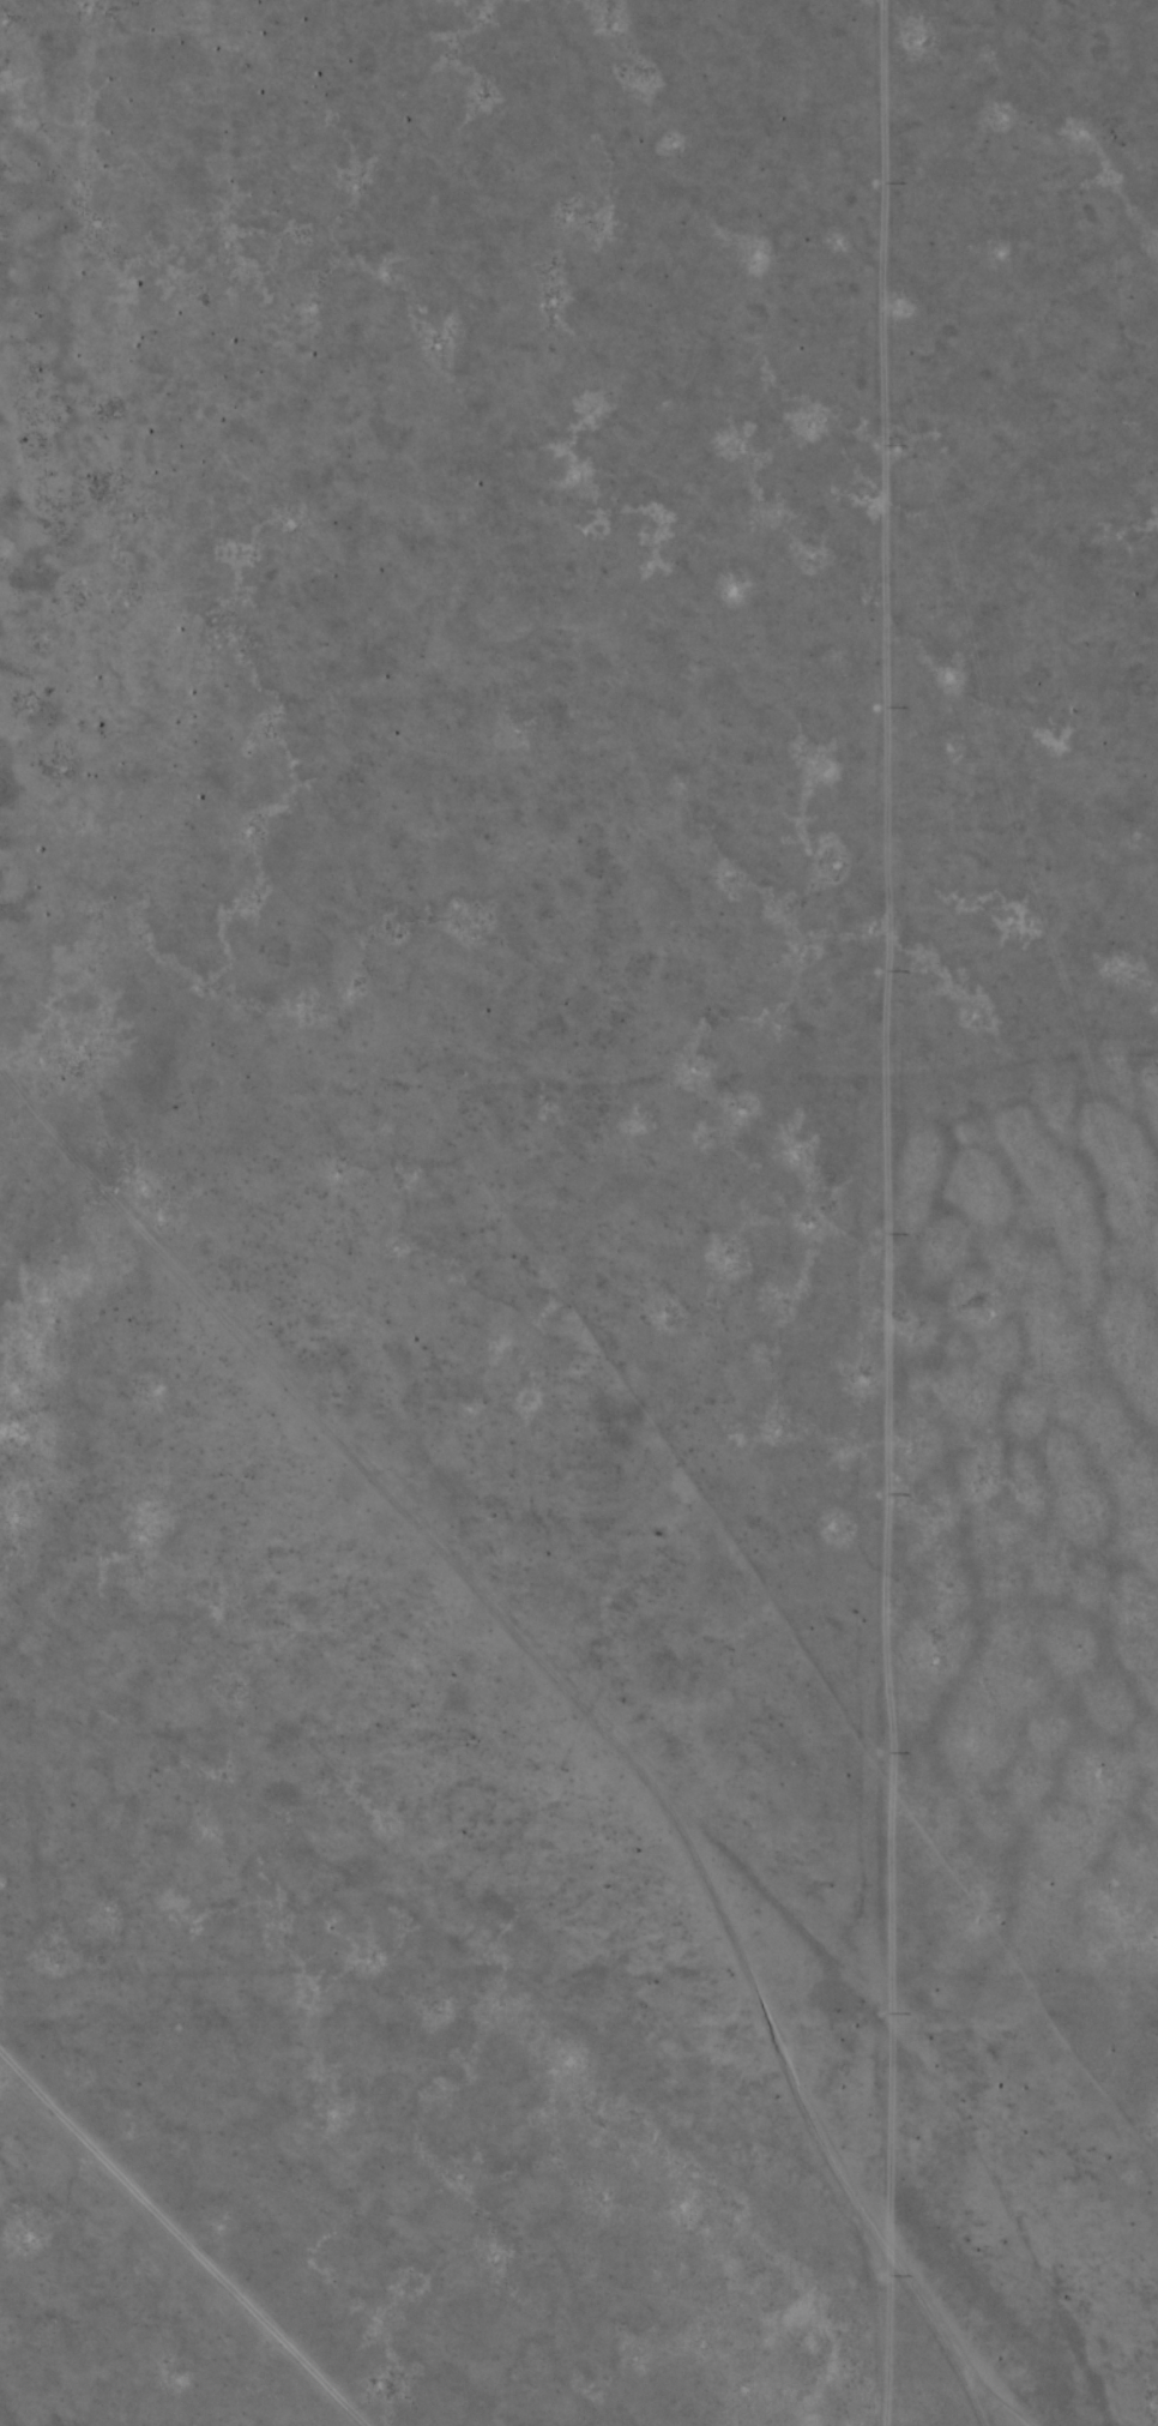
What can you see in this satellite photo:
road: (1021, 2061)
road: (217, 2195)

